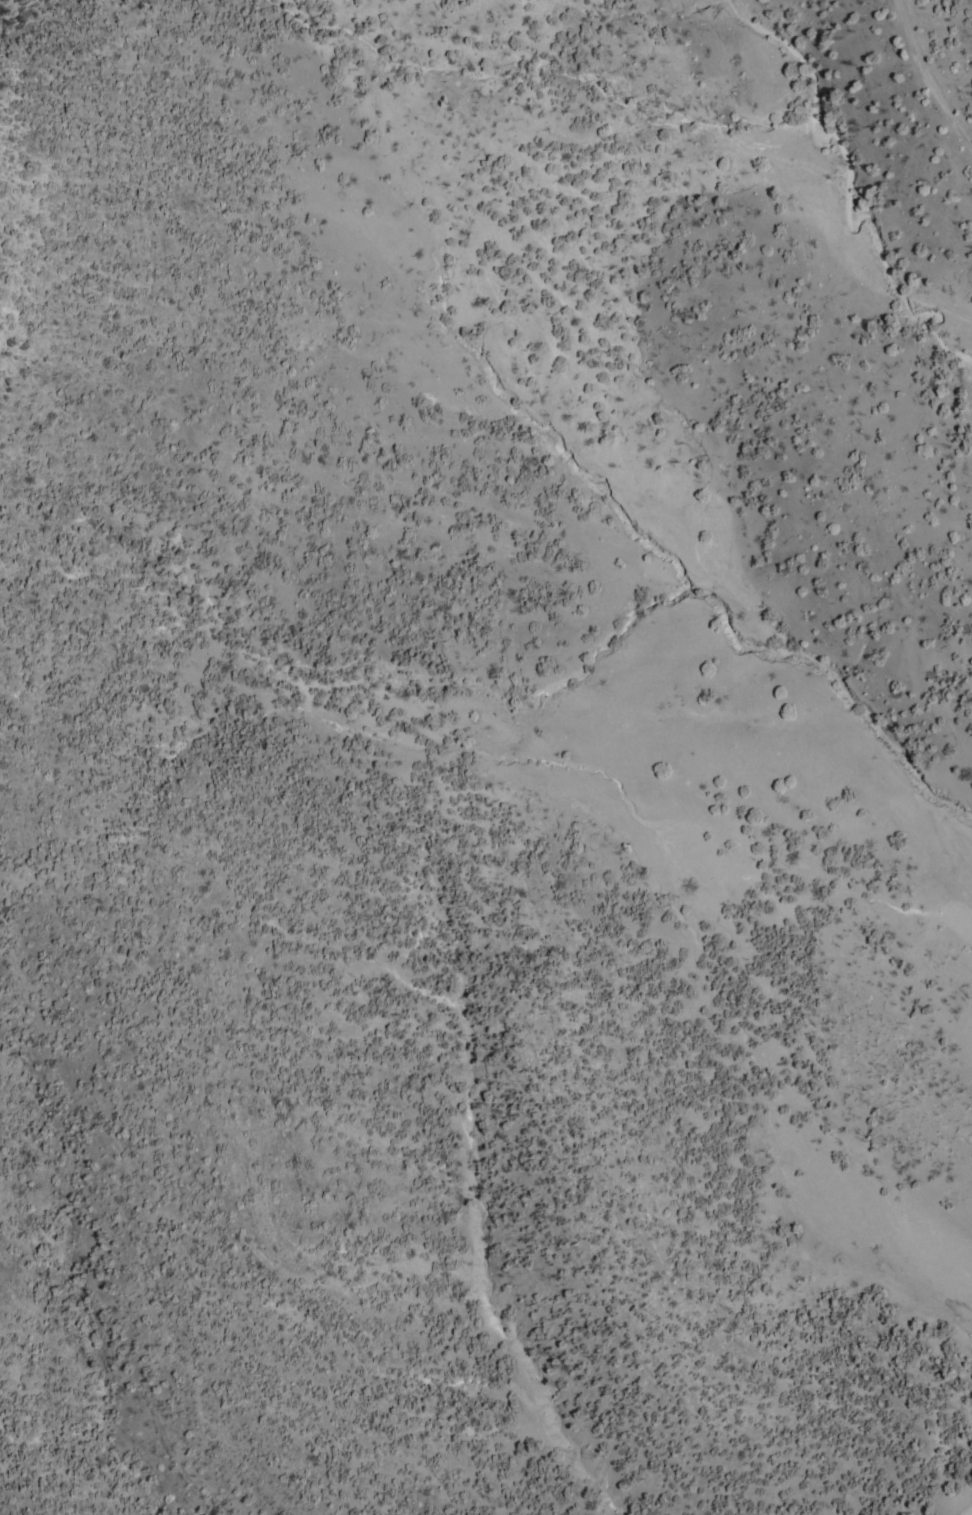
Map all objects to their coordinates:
road: (927, 78)

